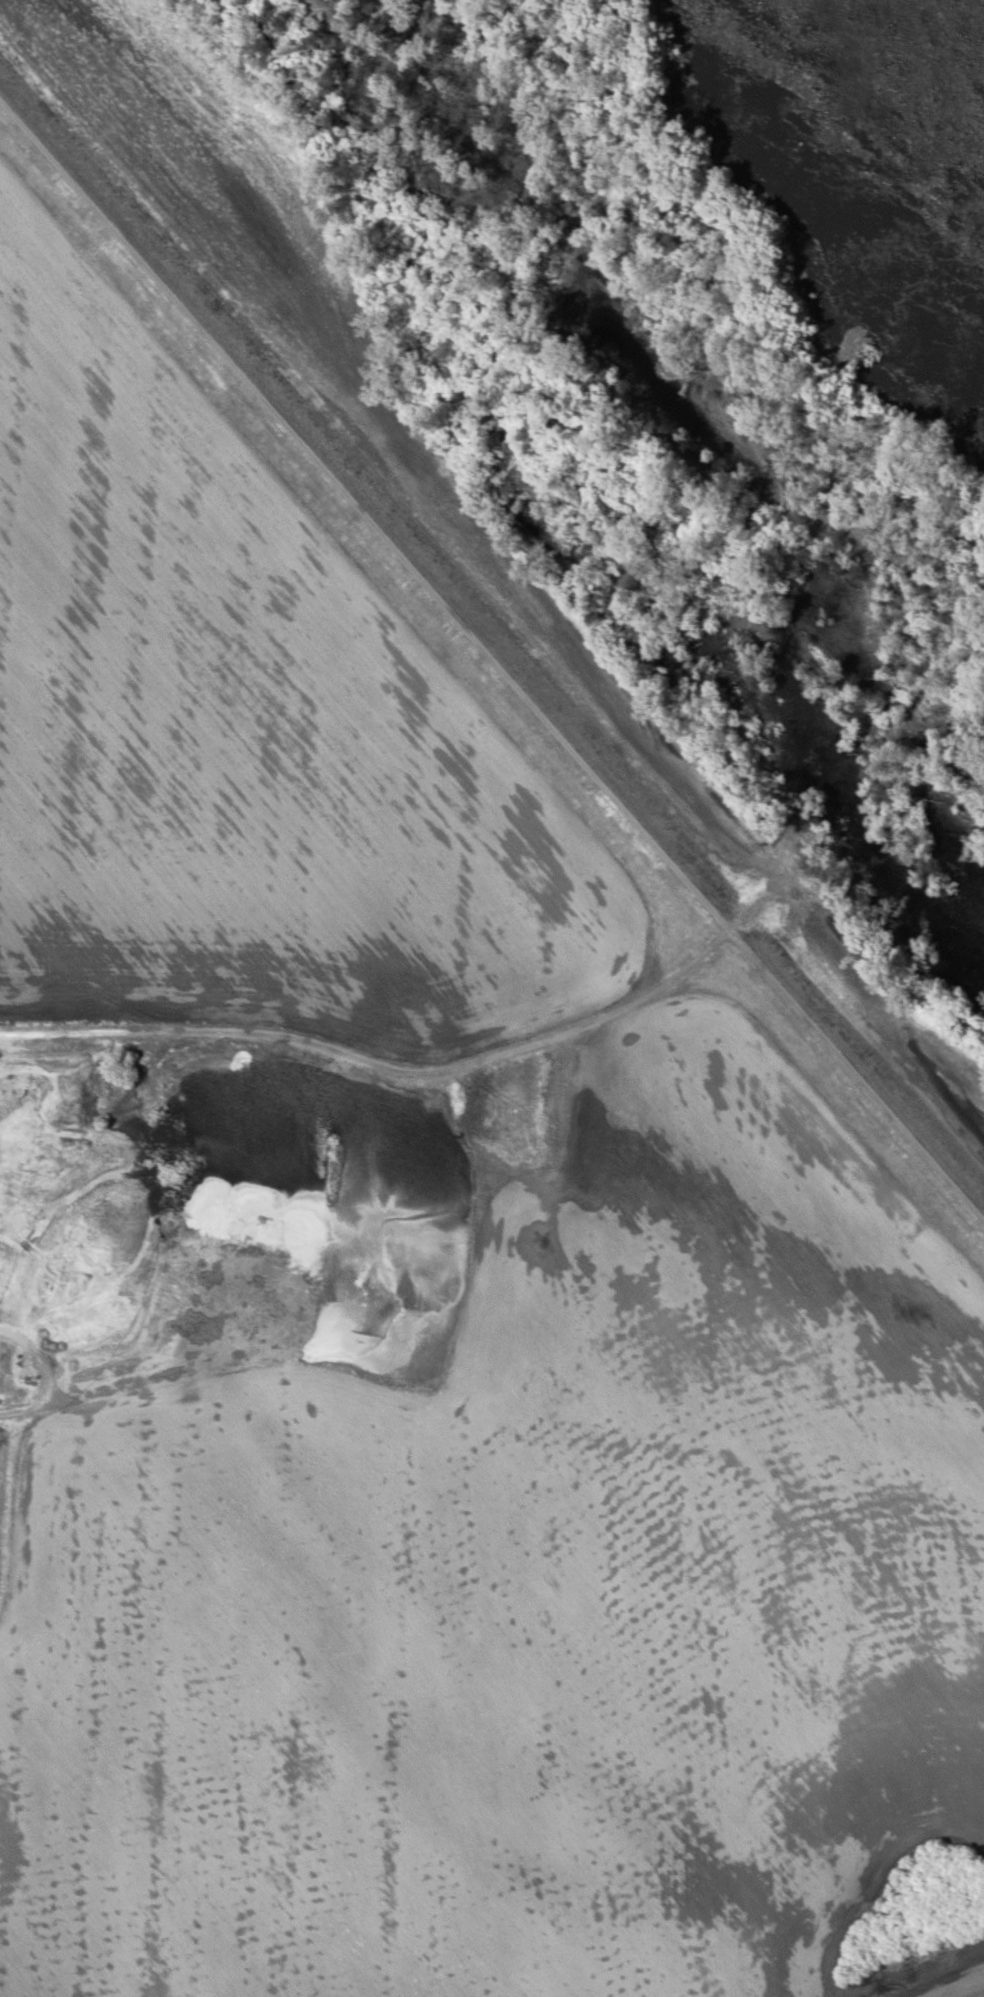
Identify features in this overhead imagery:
crop: (327, 332)
road: (489, 671)
crop: (242, 727)
crop: (894, 1025)
road: (384, 1060)
wastewater plant: (2, 1457)
crop: (452, 1630)

